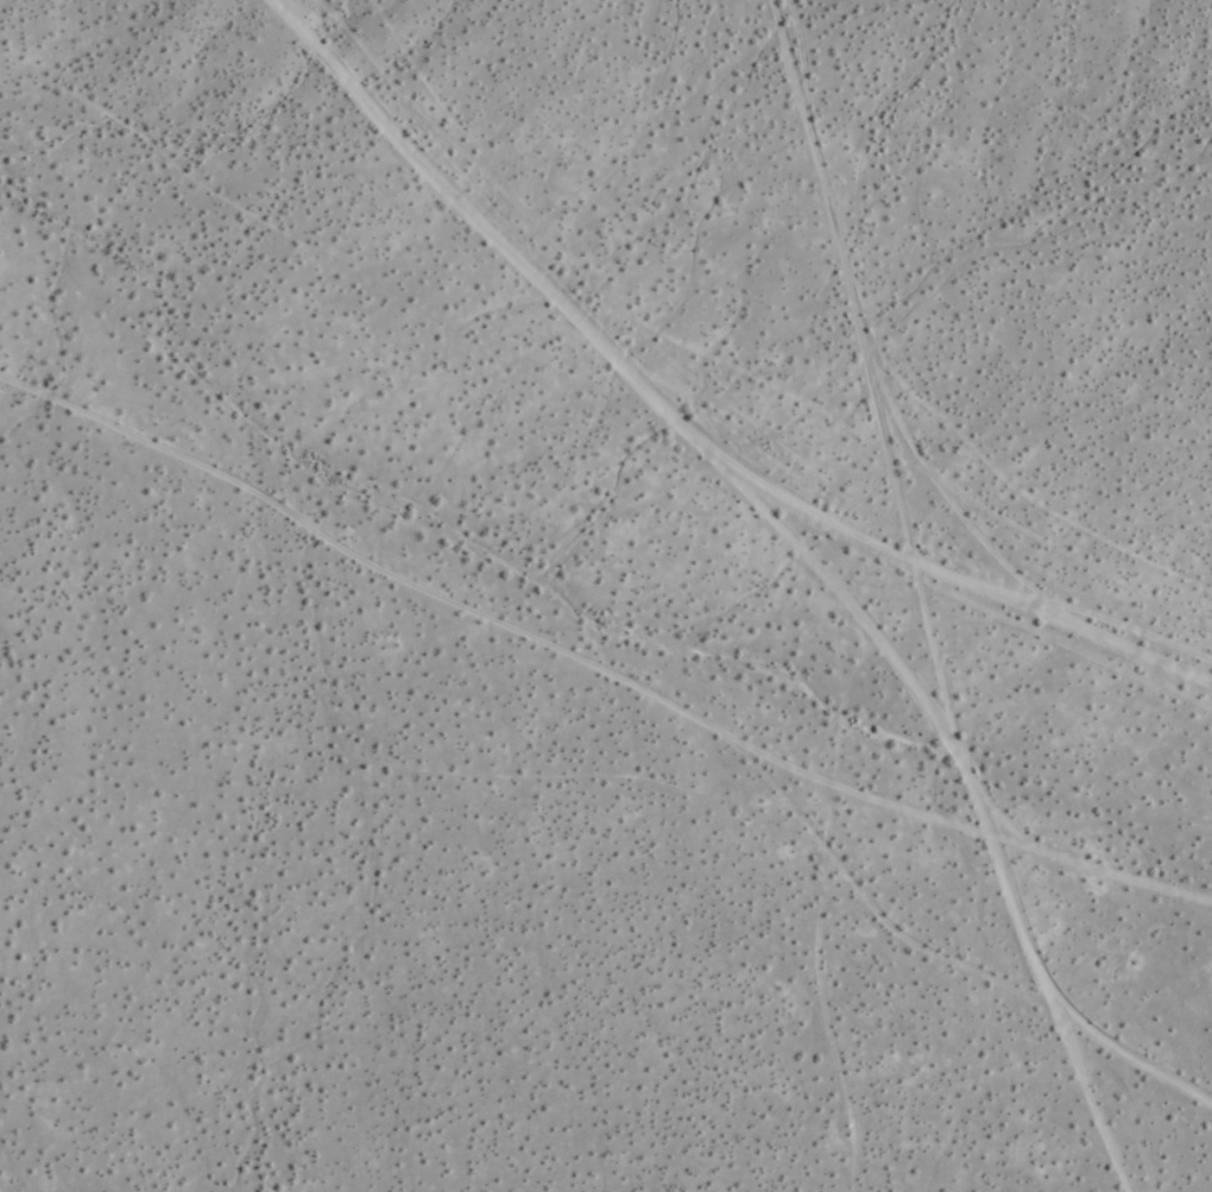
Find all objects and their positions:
road: (854, 282)
road: (682, 427)

